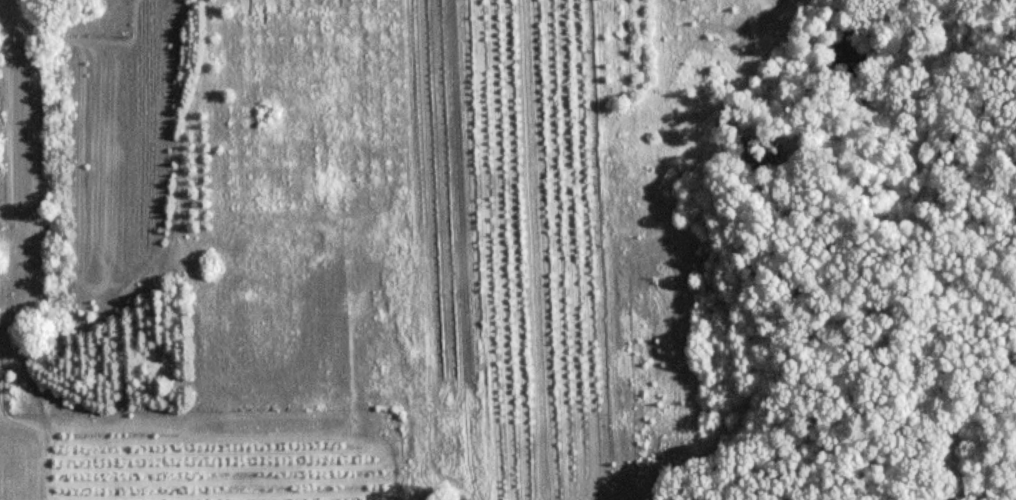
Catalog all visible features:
road: (1, 345)

